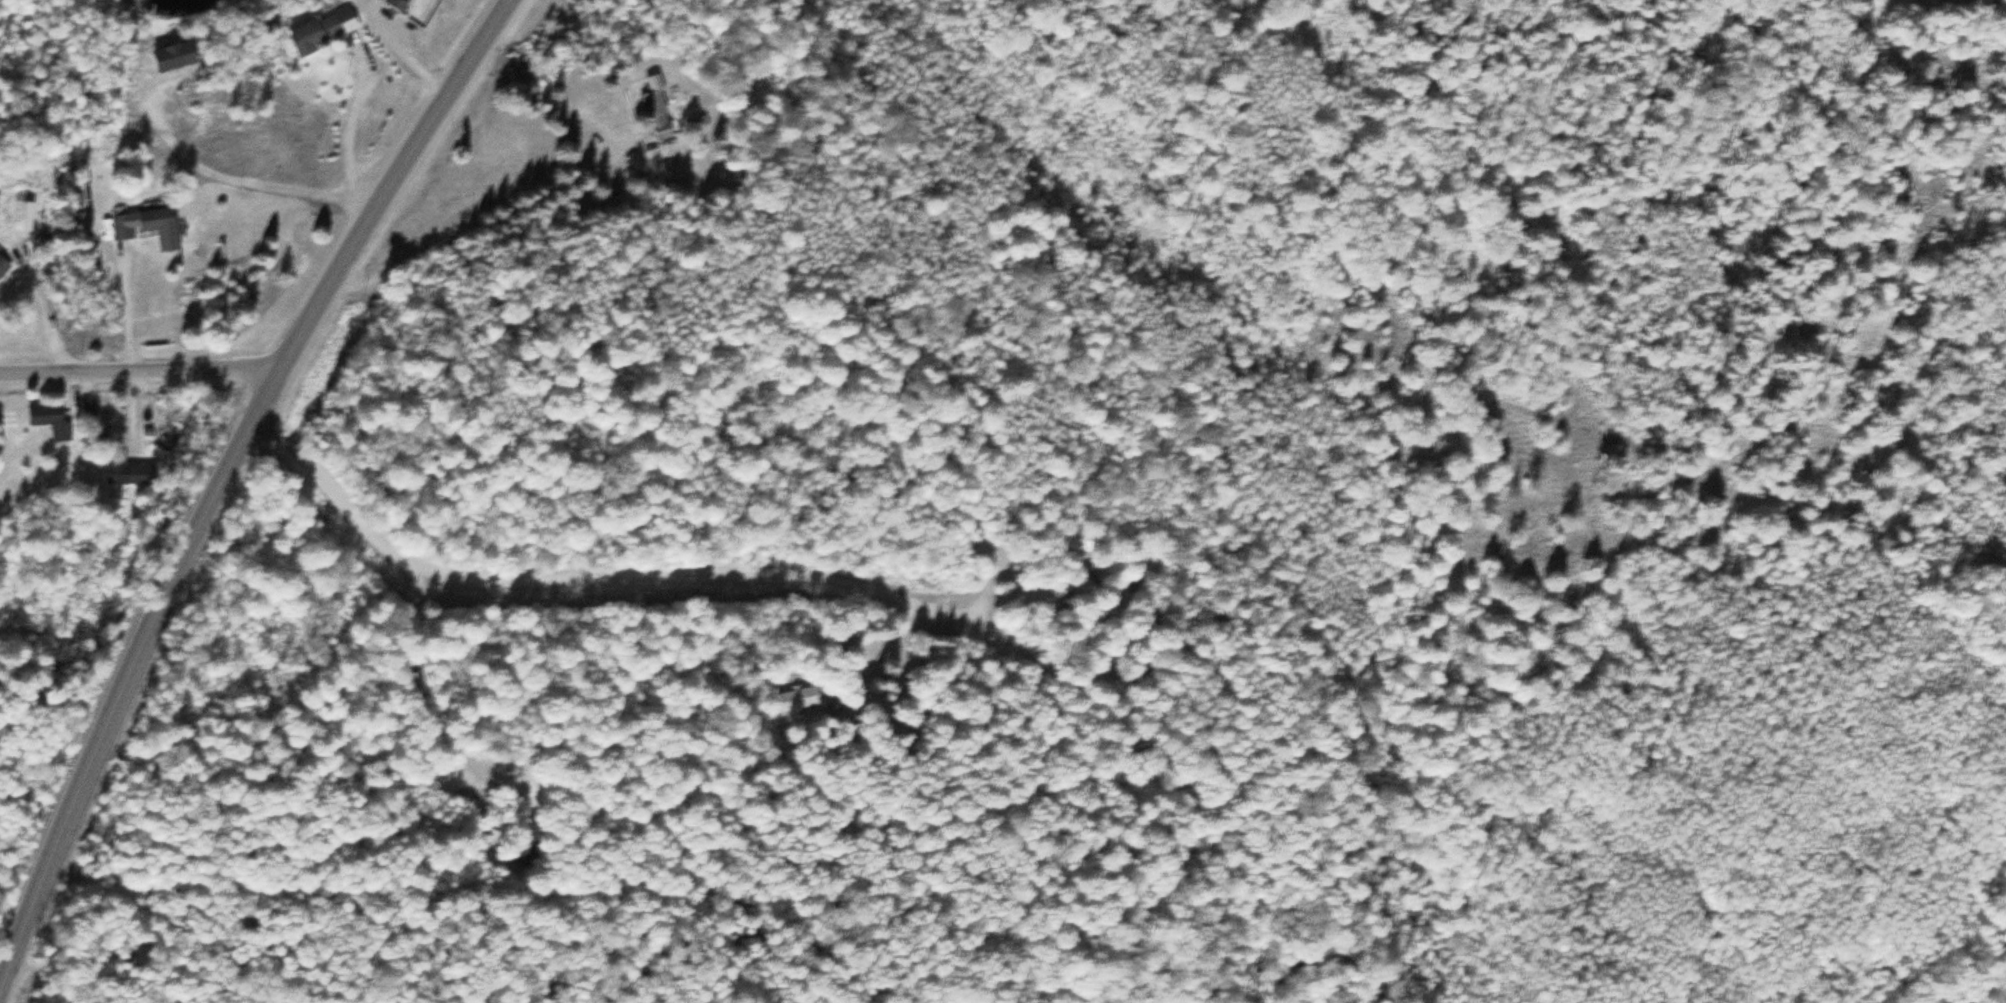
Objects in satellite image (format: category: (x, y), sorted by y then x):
building: (397, 4)
building: (322, 30)
building: (175, 56)
building: (656, 109)
road: (349, 122)
building: (148, 226)
building: (3, 266)
road: (138, 369)
building: (49, 420)
building: (131, 471)
road: (222, 473)
road: (846, 586)
building: (1059, 594)
building: (797, 697)
road: (428, 711)
building: (526, 842)

